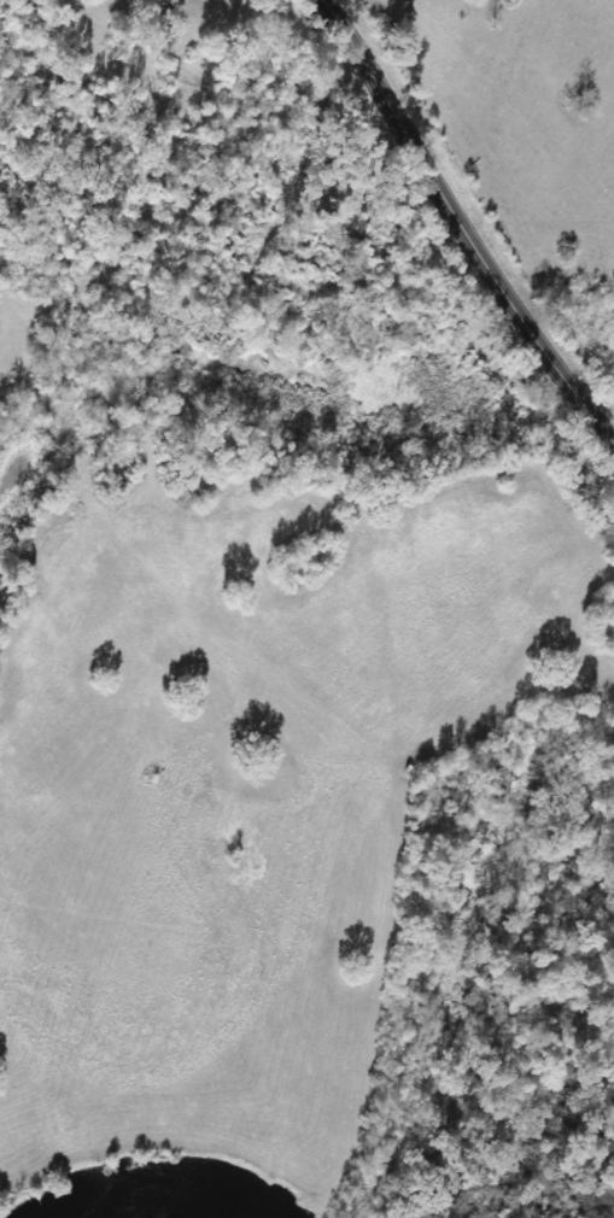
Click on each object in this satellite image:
road: (457, 227)

